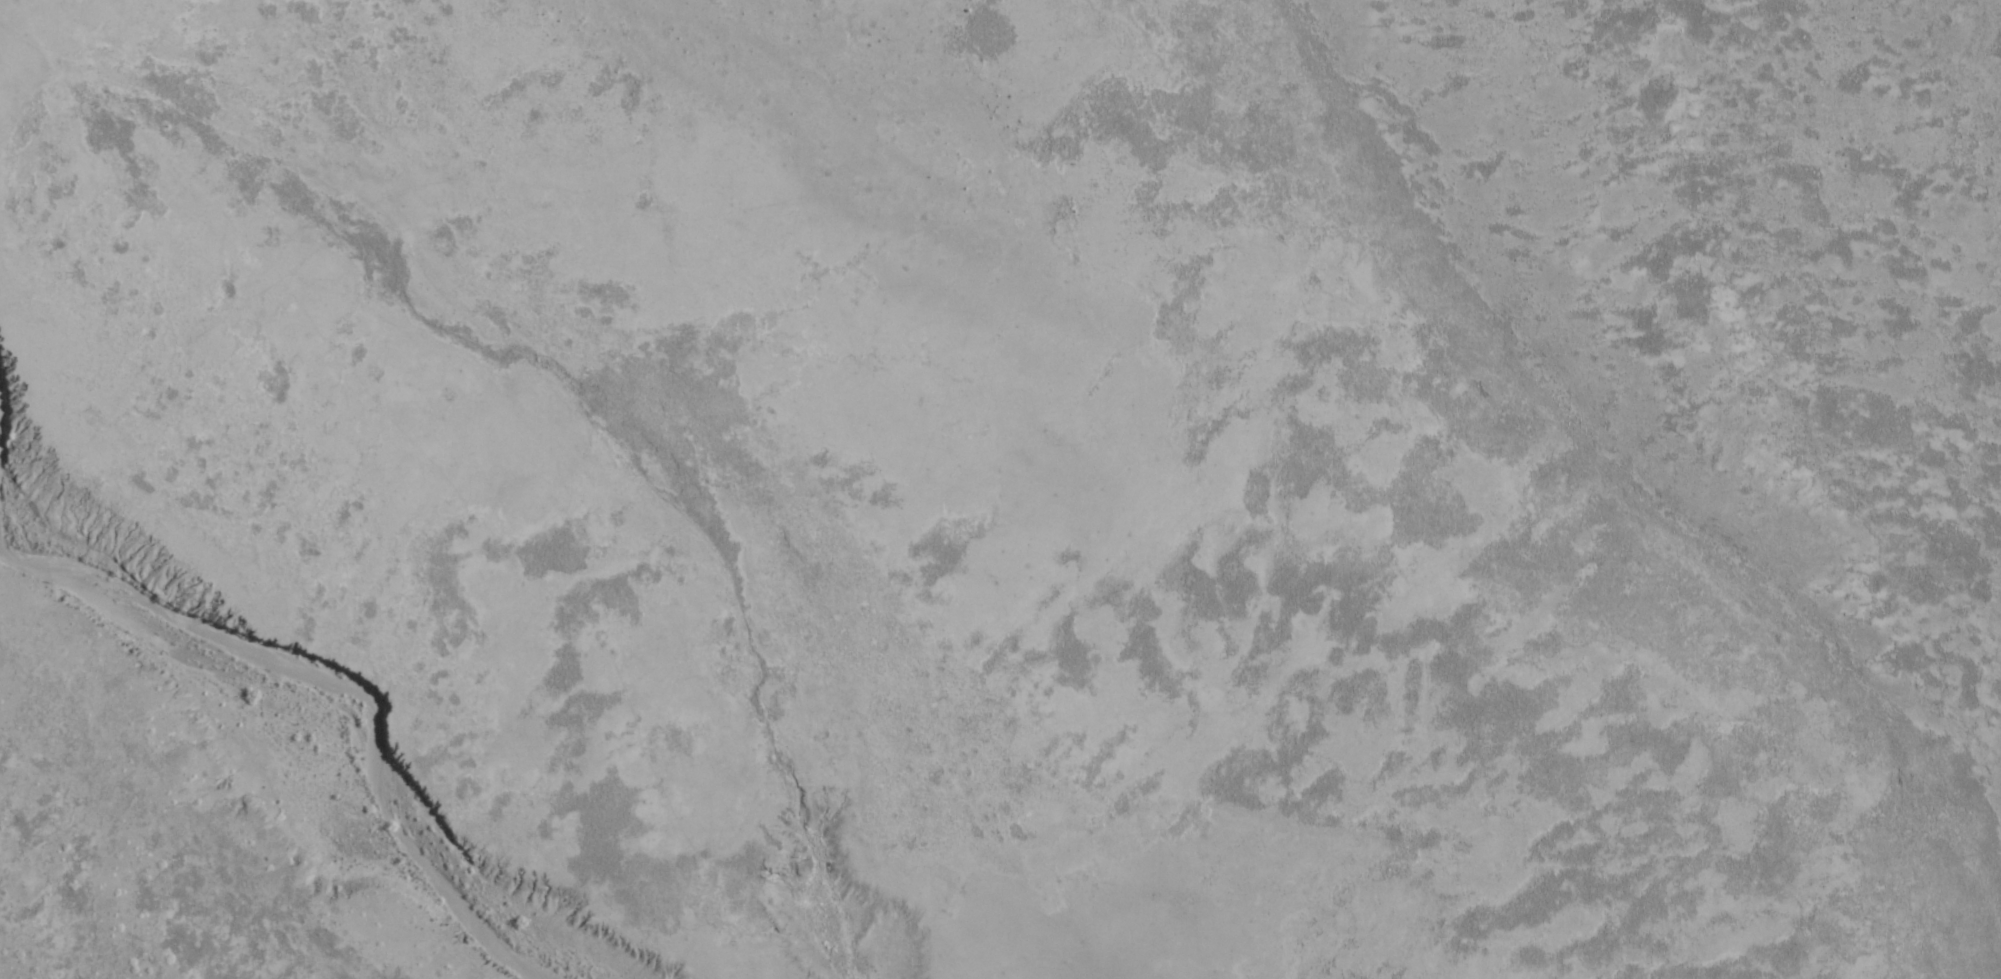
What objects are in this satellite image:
river: (294, 757)

